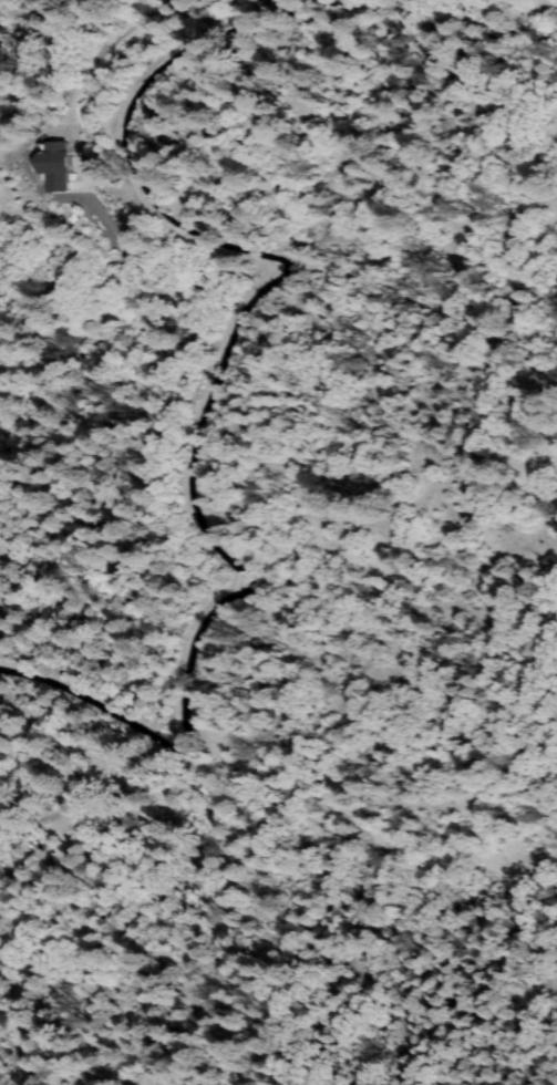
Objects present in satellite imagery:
building: (56, 163)

